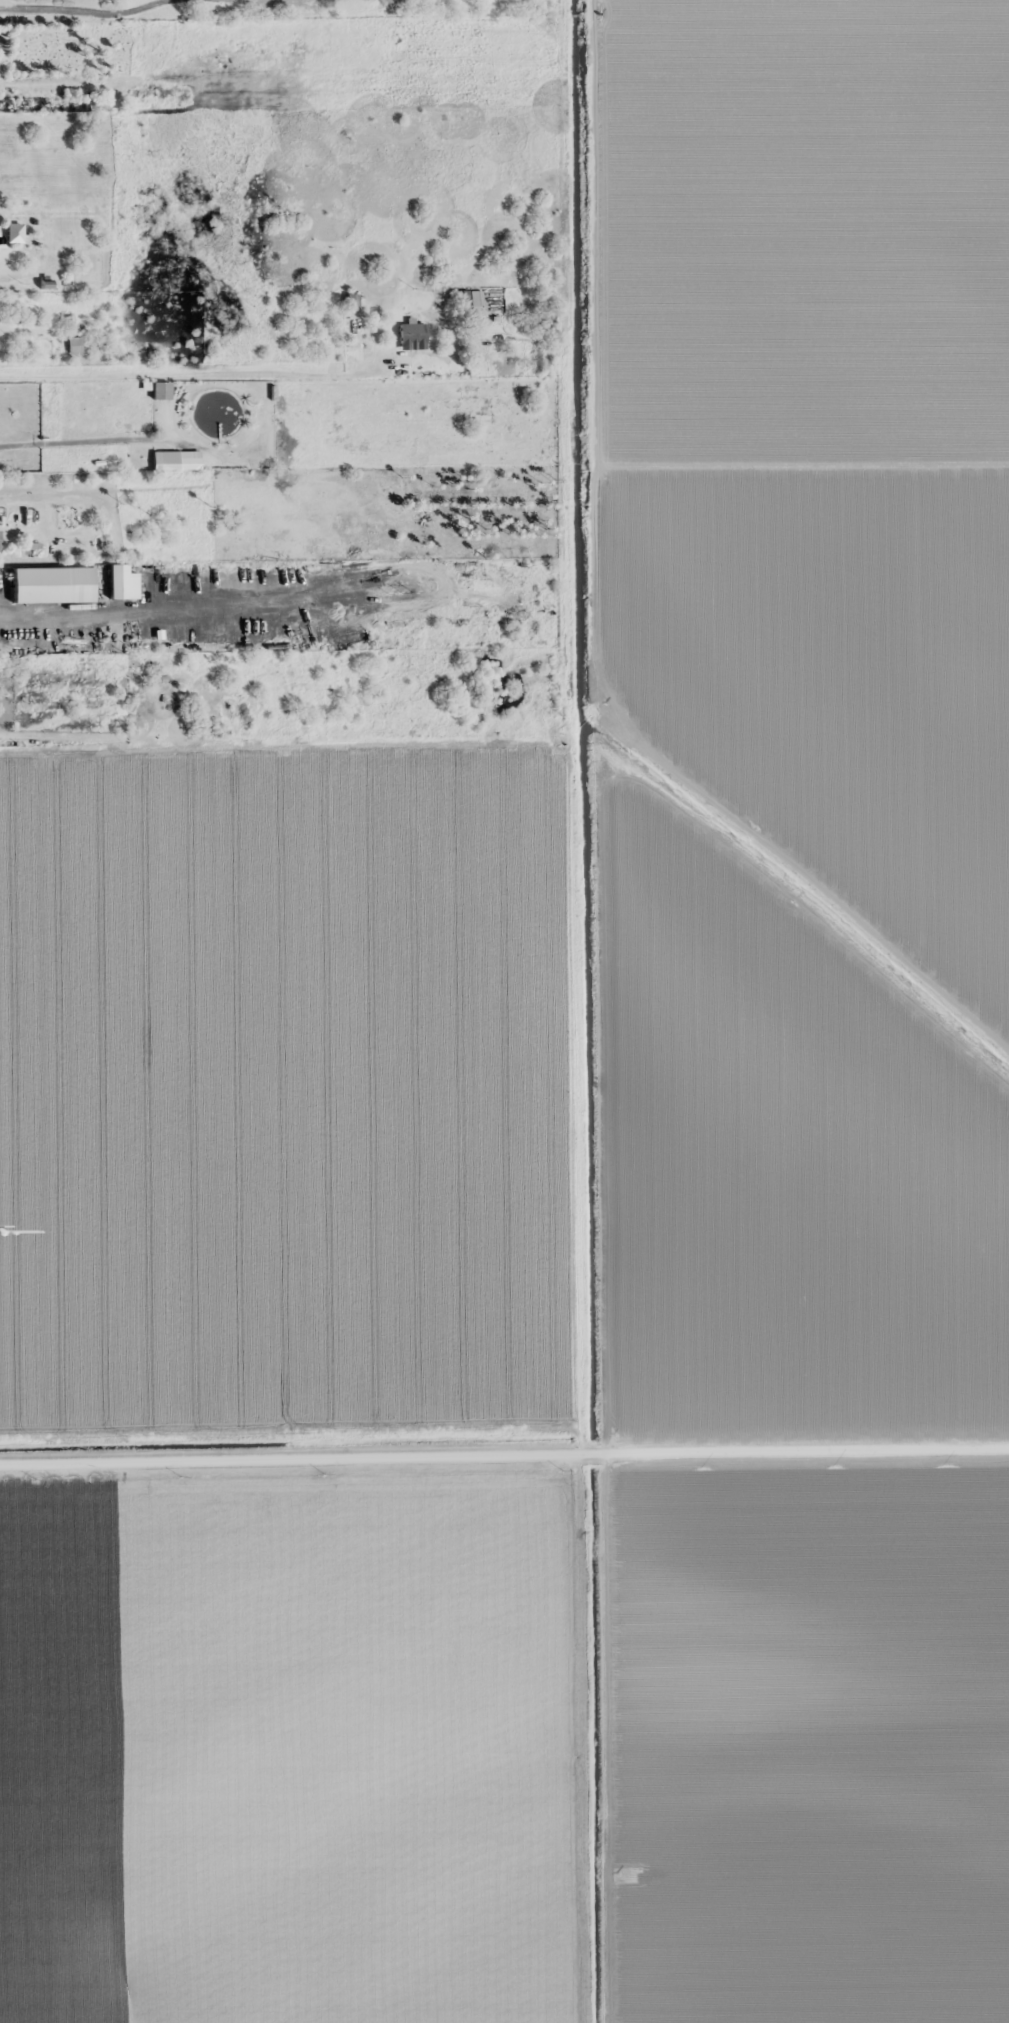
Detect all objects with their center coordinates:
building: (412, 337)
building: (75, 346)
road: (178, 381)
building: (0, 540)
road: (86, 735)
road: (504, 1456)

